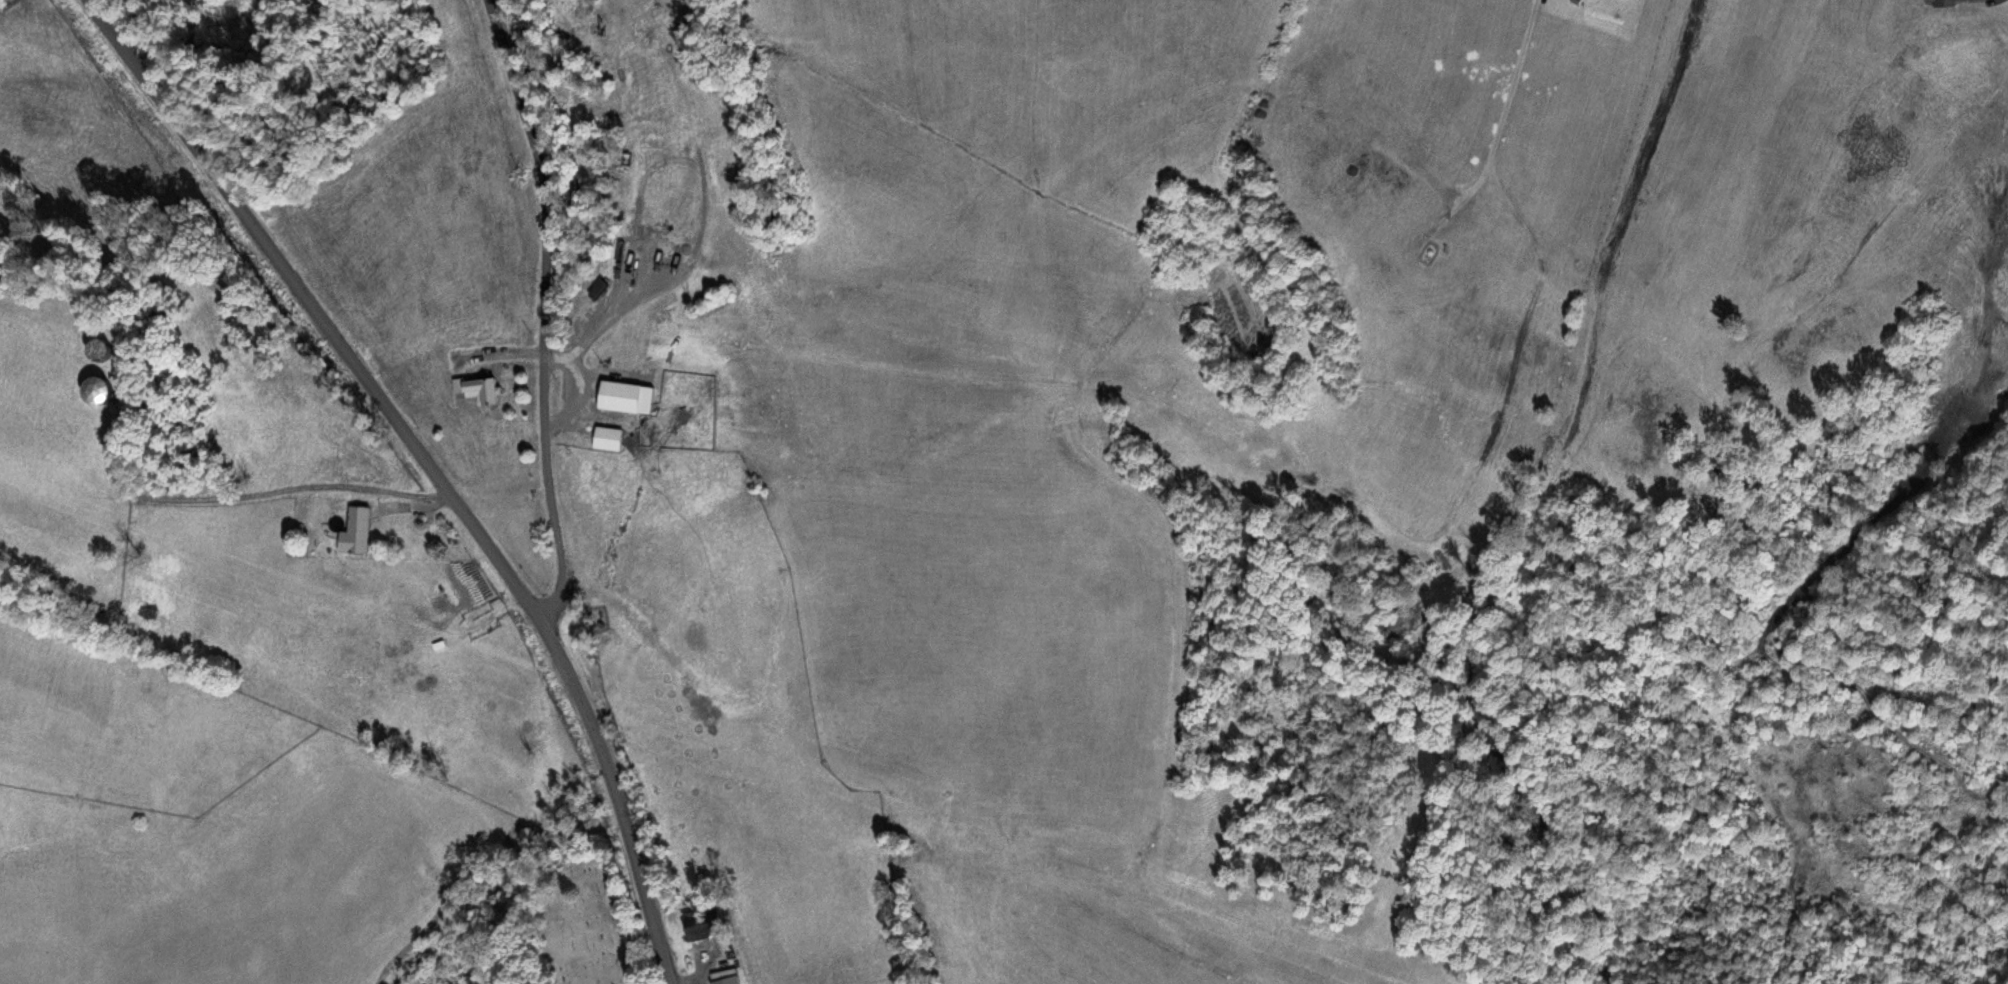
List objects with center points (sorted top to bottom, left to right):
building: (1939, 1)
road: (314, 309)
building: (97, 349)
building: (481, 388)
building: (95, 389)
building: (618, 395)
building: (607, 437)
road: (552, 503)
building: (307, 511)
building: (354, 530)
building: (701, 922)
building: (727, 980)

